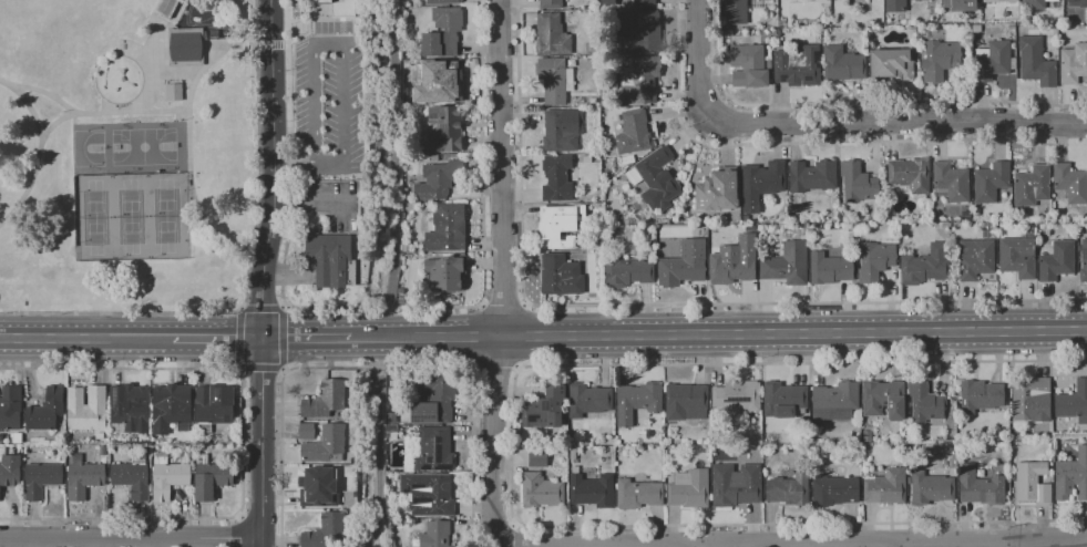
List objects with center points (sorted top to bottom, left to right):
building: (820, 0)
building: (442, 1)
building: (800, 2)
building: (1077, 2)
building: (643, 3)
building: (551, 4)
building: (958, 4)
building: (1003, 4)
building: (895, 6)
building: (1034, 6)
building: (165, 7)
building: (341, 8)
building: (741, 10)
building: (932, 11)
building: (976, 28)
building: (444, 31)
building: (643, 33)
building: (552, 35)
road: (340, 42)
road: (267, 45)
road: (285, 45)
building: (185, 47)
building: (591, 48)
building: (941, 60)
building: (992, 61)
building: (892, 63)
building: (1073, 63)
building: (768, 64)
building: (842, 64)
building: (798, 65)
building: (748, 66)
building: (1037, 66)
building: (554, 80)
building: (640, 80)
building: (442, 82)
building: (174, 91)
road: (45, 96)
building: (592, 101)
parking lot: (329, 103)
road: (855, 103)
road: (24, 107)
road: (62, 121)
road: (837, 121)
building: (444, 130)
building: (633, 132)
building: (558, 133)
road: (817, 143)
road: (186, 145)
park: (142, 147)
park: (86, 148)
park: (123, 157)
road: (294, 164)
building: (910, 174)
building: (812, 176)
building: (557, 177)
building: (440, 178)
building: (654, 179)
building: (951, 182)
building: (991, 182)
building: (1070, 183)
building: (760, 184)
building: (860, 185)
building: (1032, 186)
building: (717, 192)
building: (409, 207)
parking lot: (328, 208)
building: (975, 211)
building: (832, 214)
building: (966, 216)
building: (1058, 216)
park: (129, 217)
building: (1039, 226)
building: (445, 227)
building: (750, 227)
building: (556, 229)
building: (813, 231)
building: (582, 245)
building: (407, 248)
building: (674, 250)
building: (660, 251)
building: (1084, 255)
building: (1017, 257)
building: (975, 258)
building: (328, 259)
building: (874, 260)
building: (1056, 260)
building: (734, 261)
building: (787, 265)
building: (832, 265)
building: (925, 266)
building: (679, 270)
road: (262, 272)
building: (447, 272)
building: (627, 272)
road: (503, 273)
road: (247, 275)
building: (560, 276)
road: (503, 303)
road: (654, 305)
road: (281, 306)
road: (259, 308)
road: (381, 308)
road: (793, 333)
road: (424, 337)
road: (239, 338)
road: (281, 338)
road: (306, 338)
road: (85, 339)
road: (216, 339)
road: (378, 367)
road: (258, 368)
road: (236, 369)
road: (494, 370)
road: (283, 371)
building: (392, 391)
building: (980, 396)
building: (736, 398)
building: (1029, 398)
building: (432, 399)
building: (883, 399)
building: (325, 400)
building: (588, 400)
building: (785, 400)
building: (637, 401)
building: (835, 401)
building: (686, 402)
building: (925, 402)
building: (1073, 403)
building: (213, 406)
building: (10, 407)
building: (86, 407)
building: (130, 407)
building: (170, 407)
building: (45, 410)
building: (544, 412)
building: (391, 417)
building: (389, 430)
building: (306, 432)
building: (868, 435)
road: (243, 443)
building: (326, 445)
road: (511, 448)
building: (430, 450)
building: (573, 454)
building: (537, 457)
building: (10, 471)
building: (167, 476)
building: (1071, 476)
building: (83, 477)
building: (132, 477)
building: (211, 477)
building: (41, 479)
building: (1032, 483)
building: (736, 485)
building: (980, 486)
building: (318, 487)
building: (886, 487)
building: (931, 488)
building: (592, 489)
building: (689, 489)
building: (789, 489)
building: (541, 491)
building: (834, 491)
building: (428, 494)
building: (638, 494)
building: (390, 524)
road: (239, 530)
building: (326, 533)
building: (434, 535)
road: (514, 535)
road: (131, 538)
road: (926, 544)
road: (1027, 545)
road: (503, 546)
road: (901, 546)

